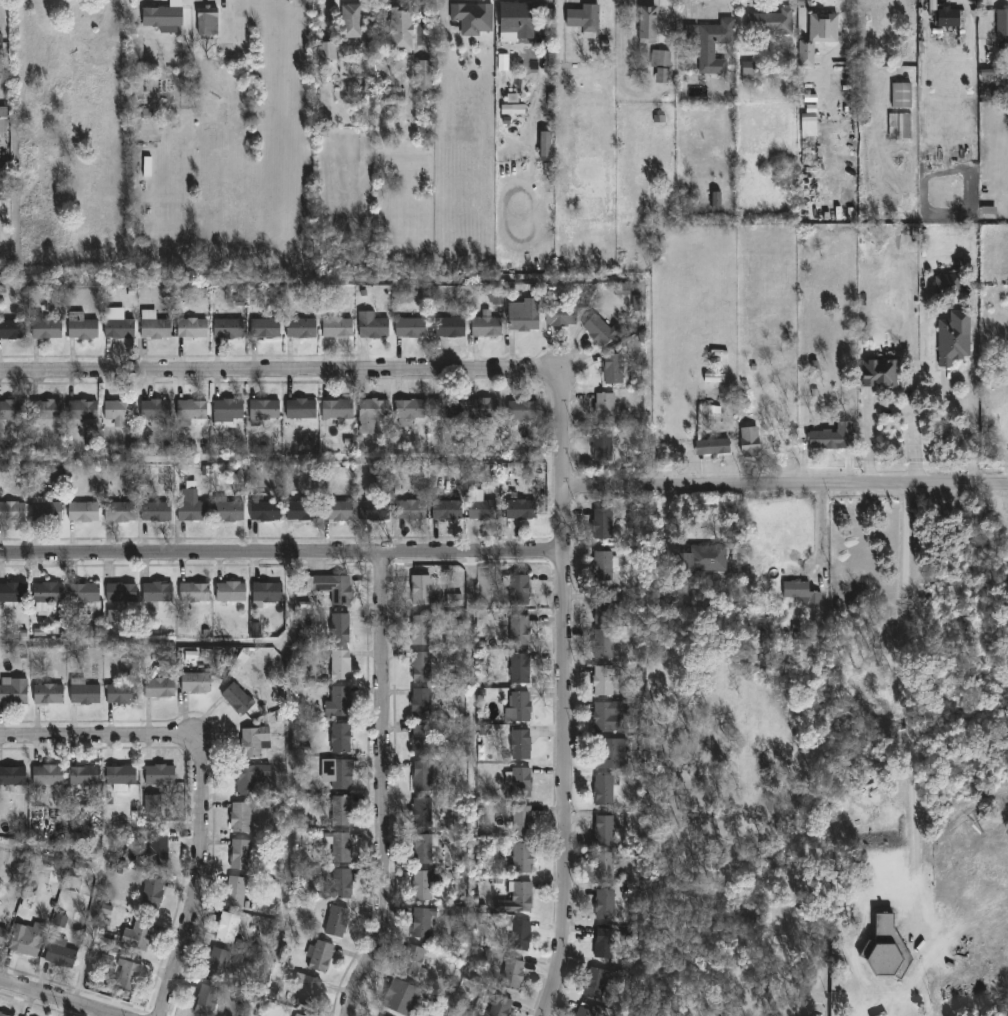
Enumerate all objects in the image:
building: (803, 3)
building: (166, 16)
building: (475, 17)
building: (586, 17)
building: (945, 17)
building: (885, 19)
building: (353, 20)
building: (209, 21)
building: (519, 21)
building: (766, 22)
building: (651, 24)
building: (1001, 25)
building: (403, 30)
building: (814, 36)
building: (1, 43)
building: (710, 43)
building: (1006, 44)
building: (329, 50)
building: (663, 64)
building: (748, 70)
building: (988, 73)
building: (426, 75)
building: (899, 95)
building: (4, 120)
building: (806, 125)
building: (897, 127)
building: (544, 144)
building: (147, 166)
building: (3, 176)
building: (715, 199)
building: (948, 284)
building: (621, 289)
building: (496, 298)
building: (637, 303)
building: (526, 315)
building: (562, 315)
building: (156, 326)
building: (229, 326)
building: (374, 326)
building: (488, 326)
building: (47, 327)
building: (83, 327)
building: (339, 327)
building: (412, 327)
building: (452, 327)
building: (121, 328)
building: (194, 328)
building: (267, 328)
building: (303, 328)
building: (12, 329)
building: (604, 331)
building: (950, 343)
building: (617, 368)
road: (276, 371)
building: (878, 374)
building: (713, 378)
building: (608, 407)
building: (303, 408)
building: (448, 408)
building: (484, 408)
building: (412, 409)
building: (712, 409)
building: (13, 410)
building: (48, 410)
building: (84, 410)
building: (121, 410)
building: (158, 410)
building: (194, 410)
building: (339, 410)
building: (524, 410)
building: (265, 411)
building: (229, 412)
building: (374, 415)
road: (972, 431)
building: (830, 436)
building: (746, 439)
building: (599, 444)
building: (708, 445)
building: (5, 471)
building: (52, 473)
road: (785, 487)
building: (193, 505)
building: (266, 507)
building: (339, 508)
building: (412, 508)
building: (486, 508)
building: (523, 508)
building: (47, 509)
building: (230, 509)
building: (303, 509)
building: (376, 509)
building: (450, 509)
building: (13, 510)
building: (85, 510)
building: (158, 510)
building: (121, 511)
road: (669, 516)
building: (606, 520)
road: (823, 533)
road: (280, 550)
building: (696, 559)
building: (605, 564)
building: (333, 587)
building: (423, 588)
building: (521, 588)
building: (160, 591)
building: (196, 591)
building: (232, 591)
building: (13, 592)
building: (86, 592)
building: (123, 592)
building: (799, 592)
building: (268, 593)
building: (49, 594)
building: (454, 599)
building: (606, 606)
building: (113, 616)
building: (341, 627)
building: (423, 628)
building: (522, 629)
building: (95, 631)
building: (605, 643)
building: (342, 663)
building: (423, 665)
building: (522, 667)
building: (604, 678)
building: (198, 682)
building: (161, 687)
building: (14, 690)
building: (85, 691)
road: (906, 691)
building: (50, 693)
building: (123, 693)
road: (563, 694)
building: (239, 698)
building: (340, 701)
building: (426, 701)
building: (520, 706)
building: (611, 714)
building: (343, 737)
building: (424, 739)
building: (256, 740)
building: (522, 744)
building: (613, 753)
building: (339, 772)
building: (13, 774)
building: (162, 774)
building: (50, 775)
building: (86, 775)
building: (424, 775)
building: (122, 776)
building: (253, 778)
building: (521, 781)
park: (841, 783)
road: (201, 785)
road: (389, 788)
building: (606, 789)
building: (152, 804)
building: (427, 809)
building: (342, 811)
building: (242, 817)
building: (523, 820)
building: (607, 830)
building: (341, 845)
building: (425, 849)
building: (160, 850)
building: (242, 854)
building: (522, 857)
building: (607, 866)
building: (73, 872)
building: (342, 882)
building: (427, 883)
building: (238, 891)
building: (154, 893)
building: (515, 900)
building: (607, 903)
building: (106, 909)
building: (60, 920)
building: (339, 921)
building: (424, 921)
building: (229, 927)
building: (521, 934)
building: (2, 935)
building: (139, 935)
building: (26, 941)
building: (606, 943)
building: (885, 949)
building: (61, 951)
building: (323, 956)
building: (106, 959)
building: (414, 960)
building: (219, 962)
building: (514, 973)
building: (129, 975)
building: (598, 982)
building: (310, 992)
road: (60, 995)
building: (400, 997)
building: (209, 1000)
building: (501, 1005)
building: (589, 1009)
building: (5, 1014)
building: (297, 1015)
building: (300, 1015)
building: (577, 1015)

